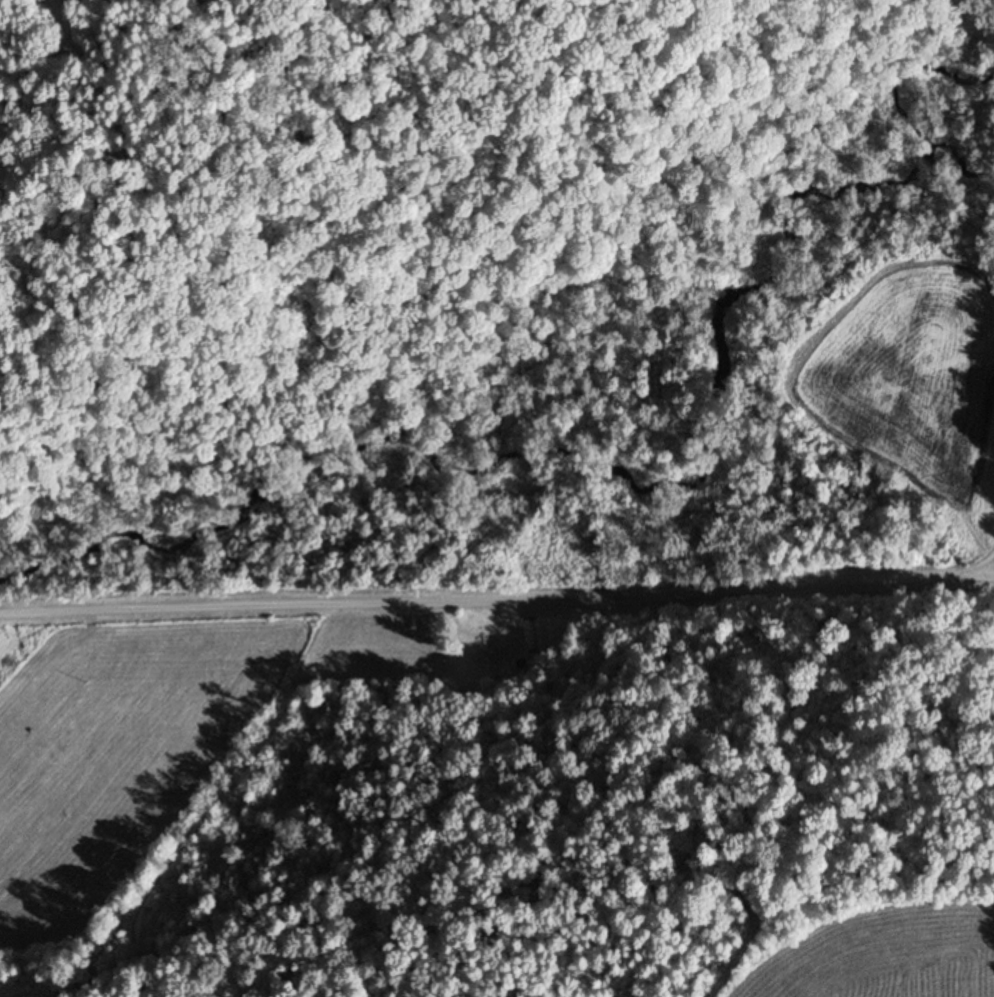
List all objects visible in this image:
road: (497, 603)

